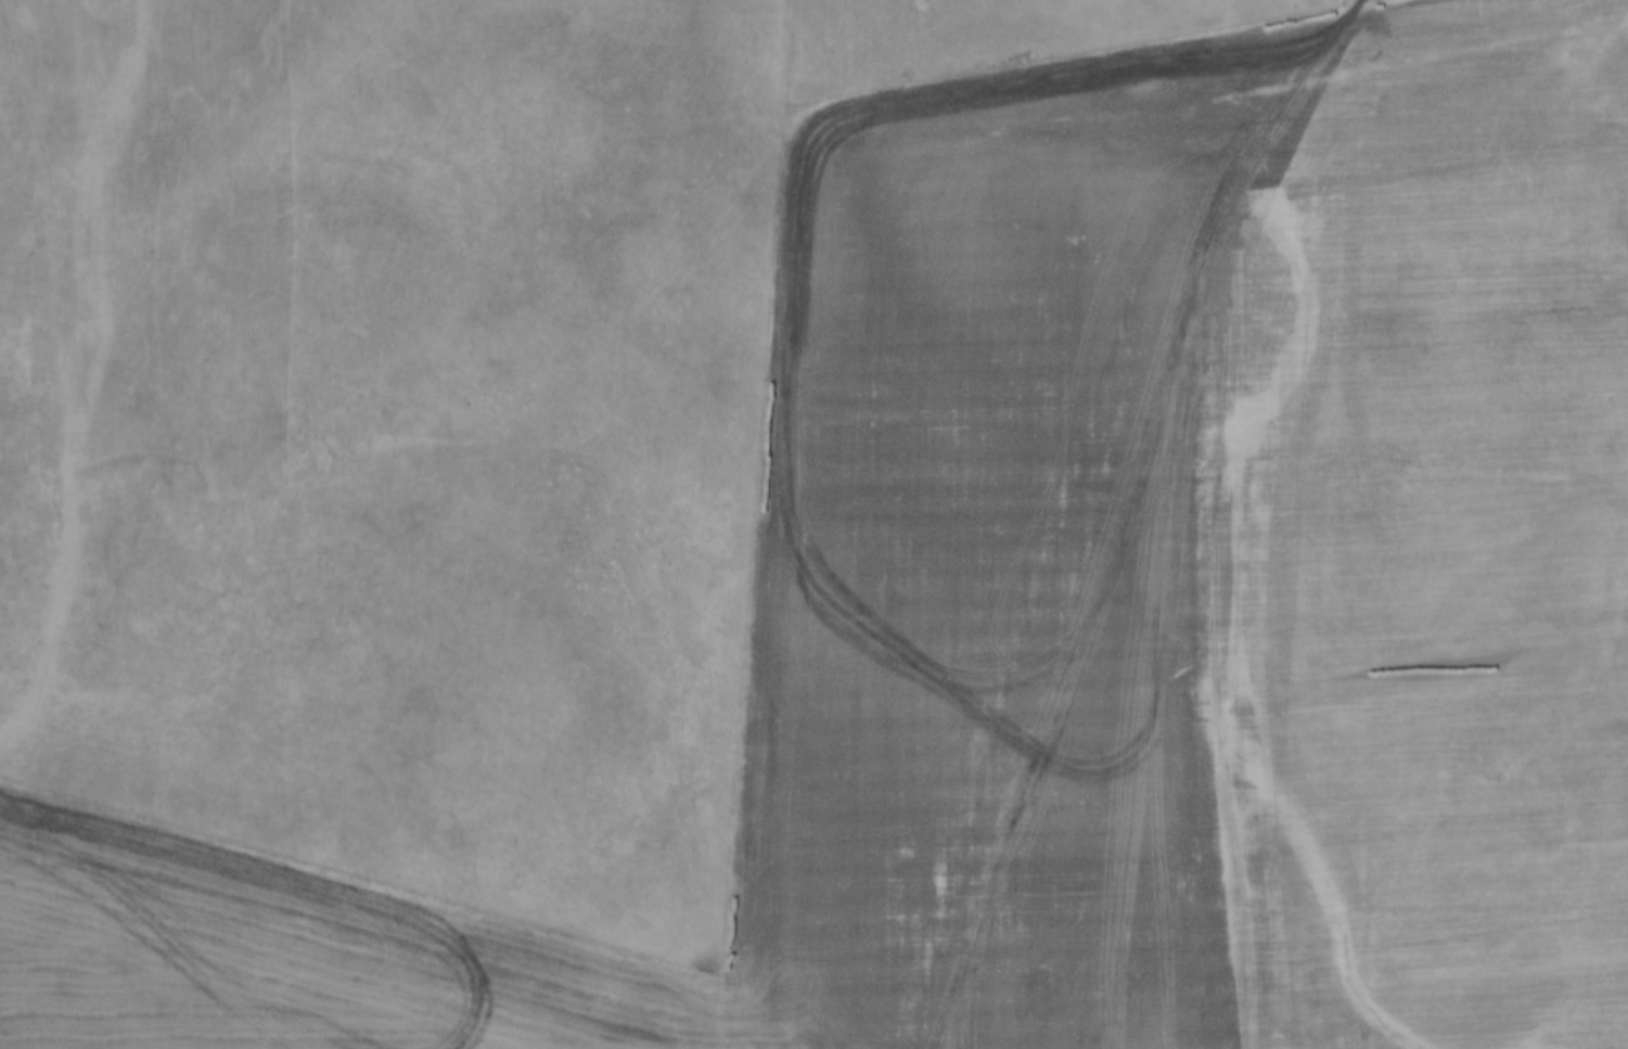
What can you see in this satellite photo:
road: (1216, 494)

